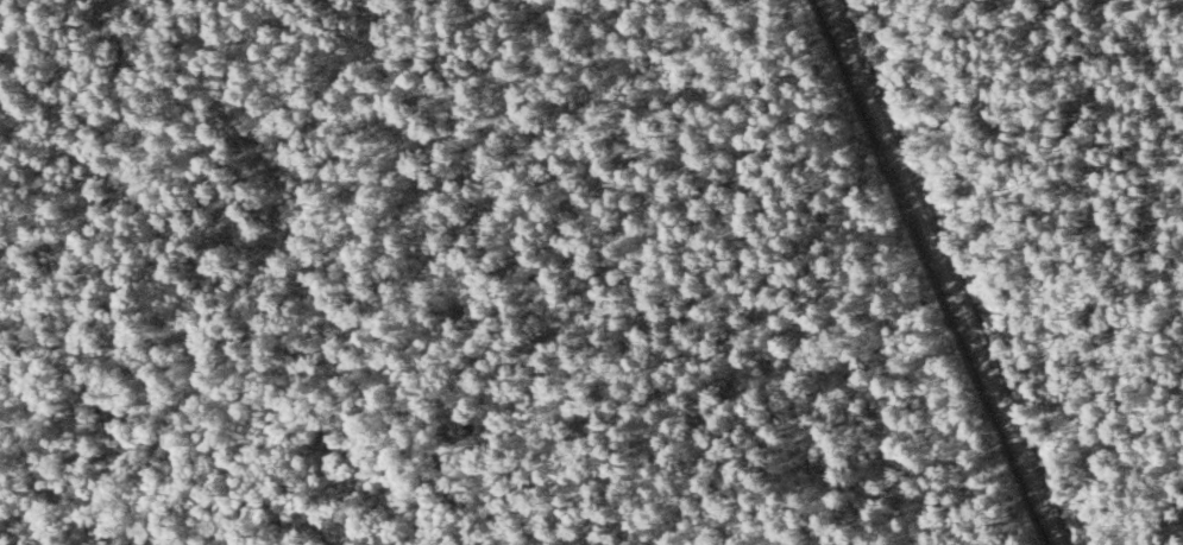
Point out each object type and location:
road: (946, 272)

